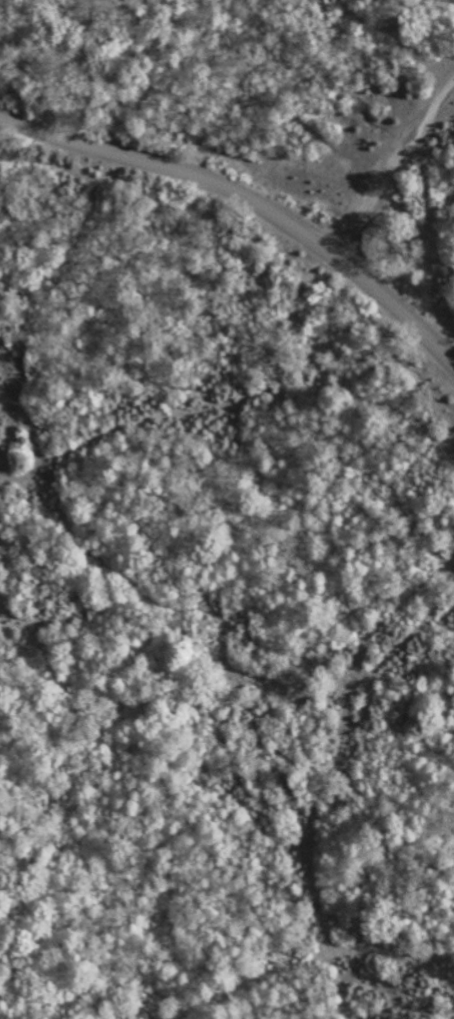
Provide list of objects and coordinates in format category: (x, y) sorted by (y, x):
road: (249, 199)

